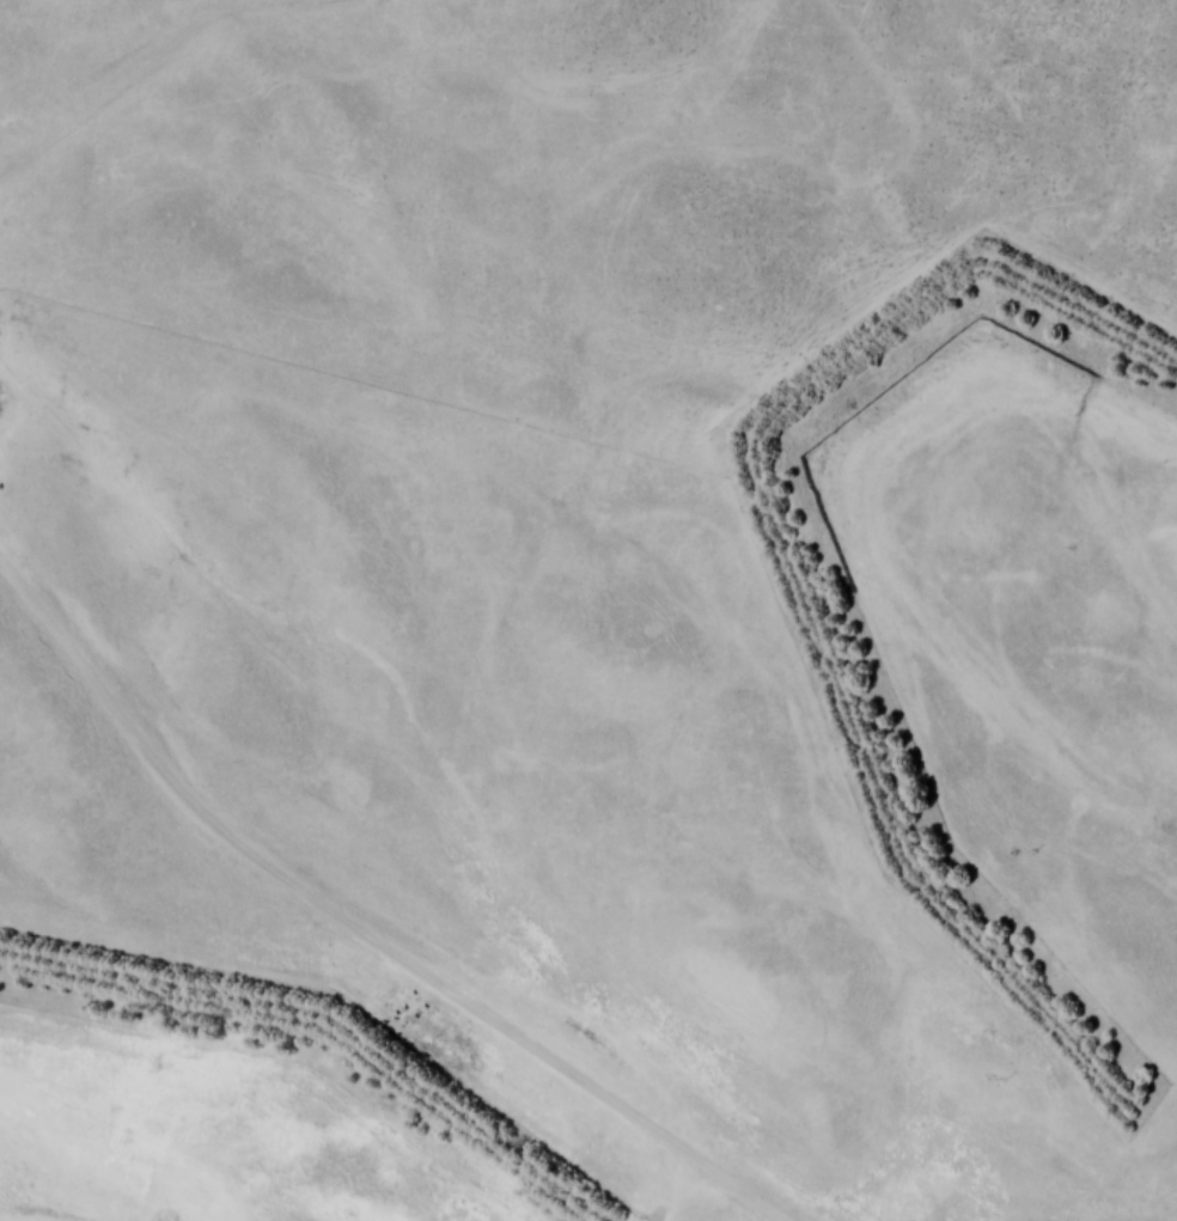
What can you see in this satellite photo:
road: (367, 941)

